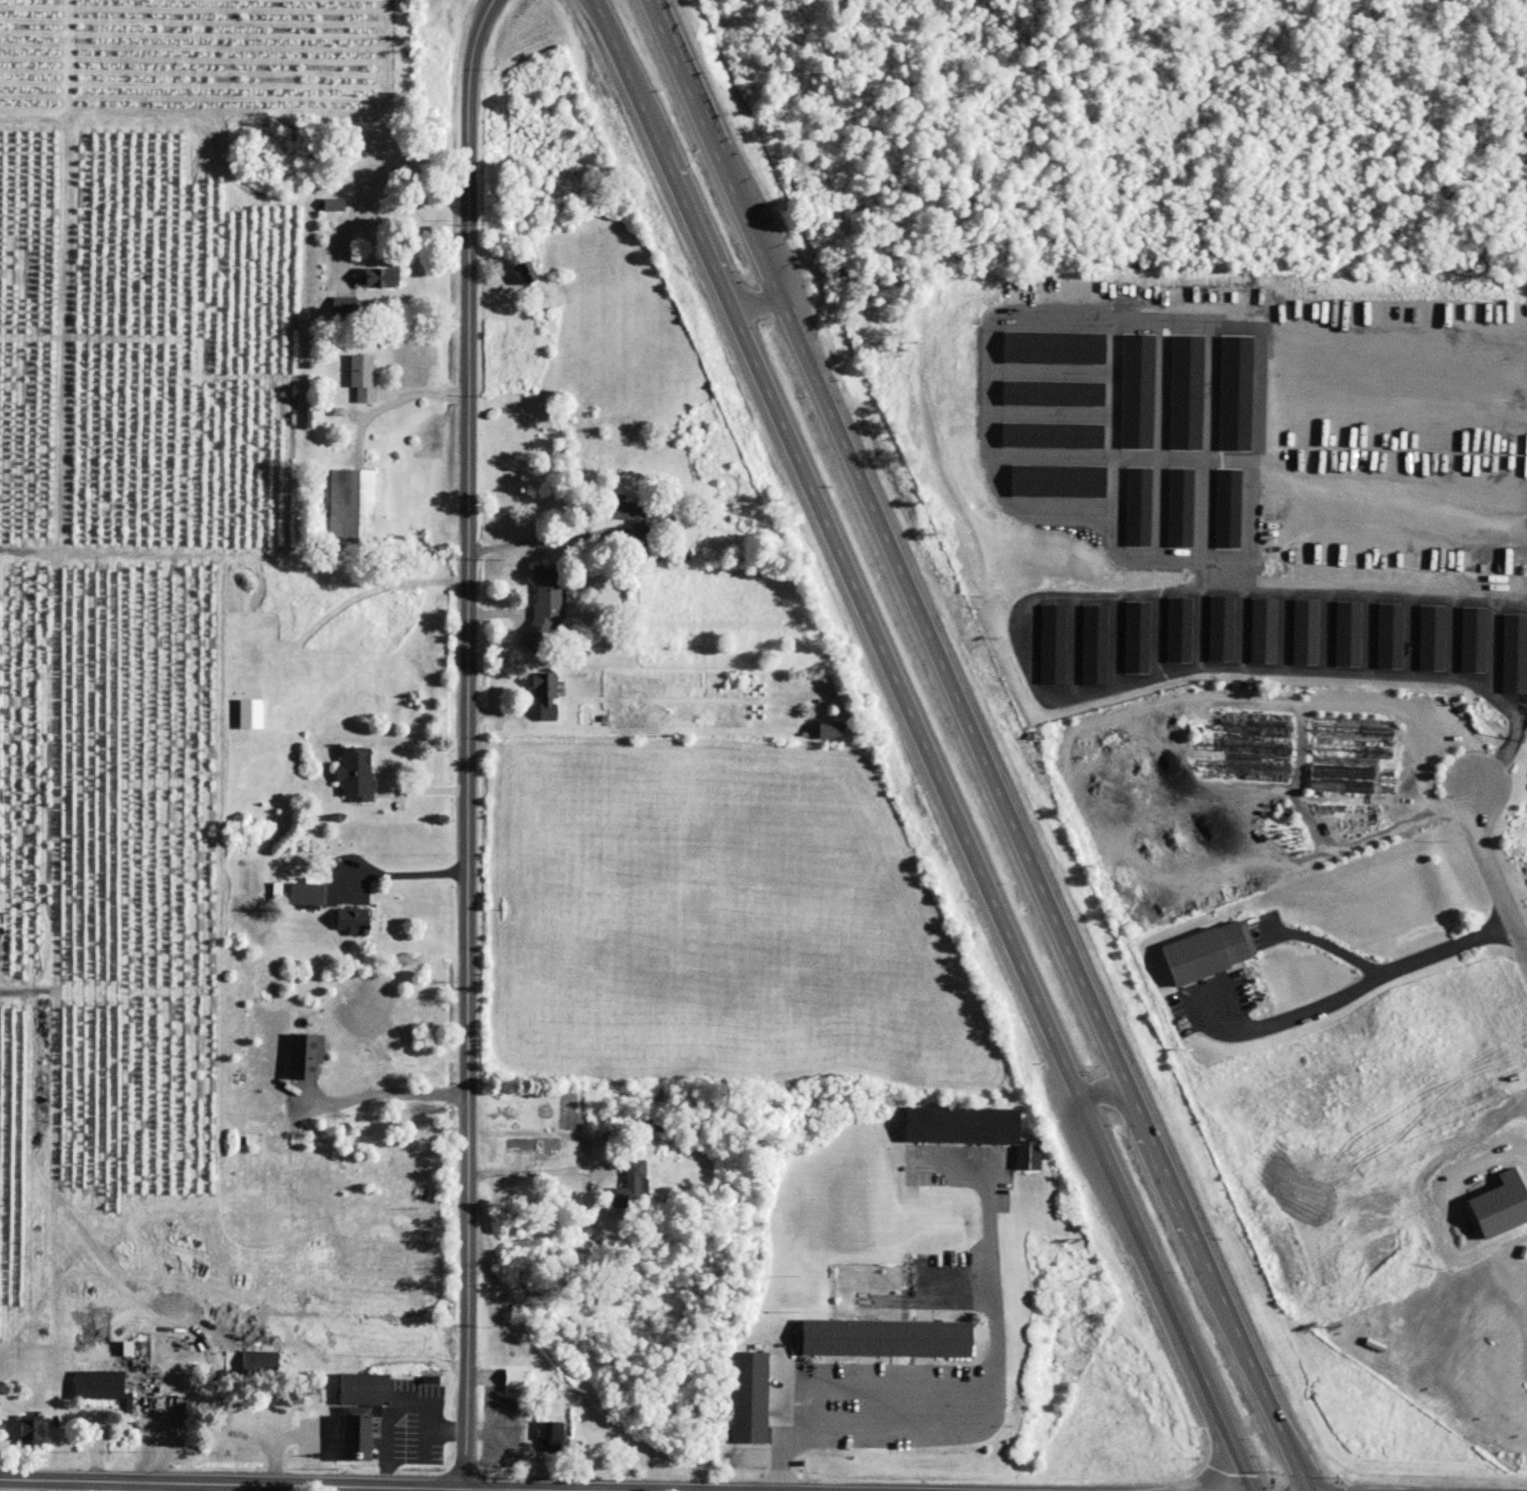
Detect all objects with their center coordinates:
road: (376, 179)
building: (334, 205)
building: (529, 273)
building: (382, 278)
road: (744, 301)
road: (1030, 312)
building: (363, 377)
road: (398, 398)
building: (352, 506)
building: (631, 517)
road: (540, 538)
road: (838, 554)
road: (893, 558)
road: (1389, 587)
building: (544, 606)
building: (1217, 628)
building: (1175, 630)
building: (1259, 630)
building: (1301, 632)
building: (1342, 635)
building: (1134, 637)
building: (1049, 644)
building: (1091, 645)
building: (547, 696)
building: (251, 713)
building: (1255, 727)
building: (832, 733)
road: (466, 742)
building: (1254, 748)
road: (1506, 750)
building: (1341, 752)
road: (1415, 752)
building: (1255, 770)
building: (356, 775)
building: (1339, 779)
road: (1492, 869)
road: (402, 871)
building: (299, 895)
building: (355, 922)
road: (1326, 943)
building: (1203, 952)
road: (1354, 988)
road: (388, 1093)
road: (1113, 1093)
building: (656, 1125)
building: (639, 1126)
building: (975, 1127)
building: (633, 1188)
road: (1168, 1299)
road: (1225, 1304)
building: (886, 1335)
building: (258, 1362)
road: (972, 1372)
building: (514, 1378)
building: (102, 1387)
building: (371, 1387)
building: (751, 1396)
road: (400, 1404)
building: (33, 1431)
road: (908, 1431)
building: (364, 1435)
building: (554, 1436)
road: (283, 1443)
building: (498, 1446)
road: (272, 1484)
road: (119, 1486)
road: (508, 1490)

